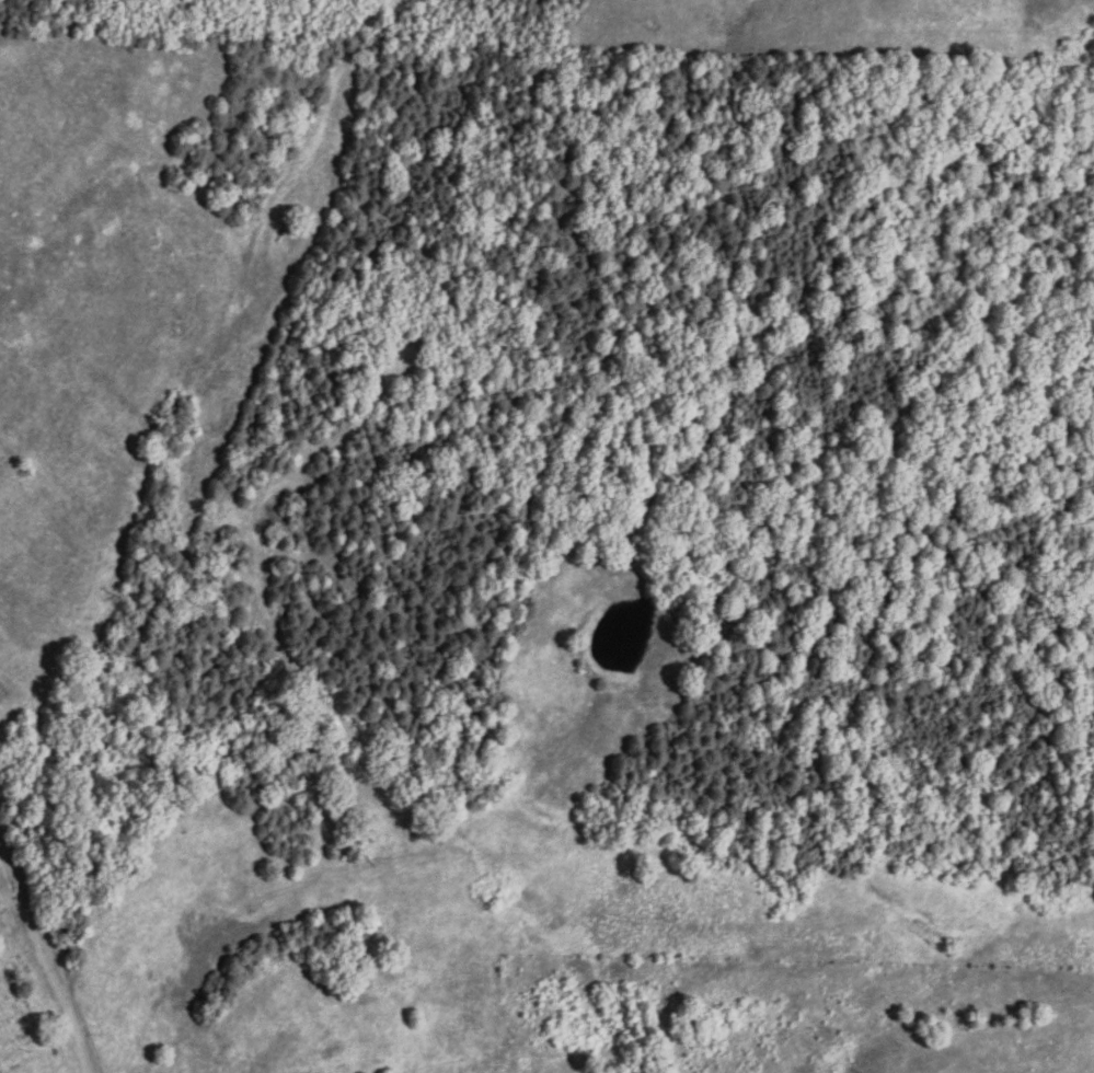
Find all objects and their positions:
road: (78, 935)

